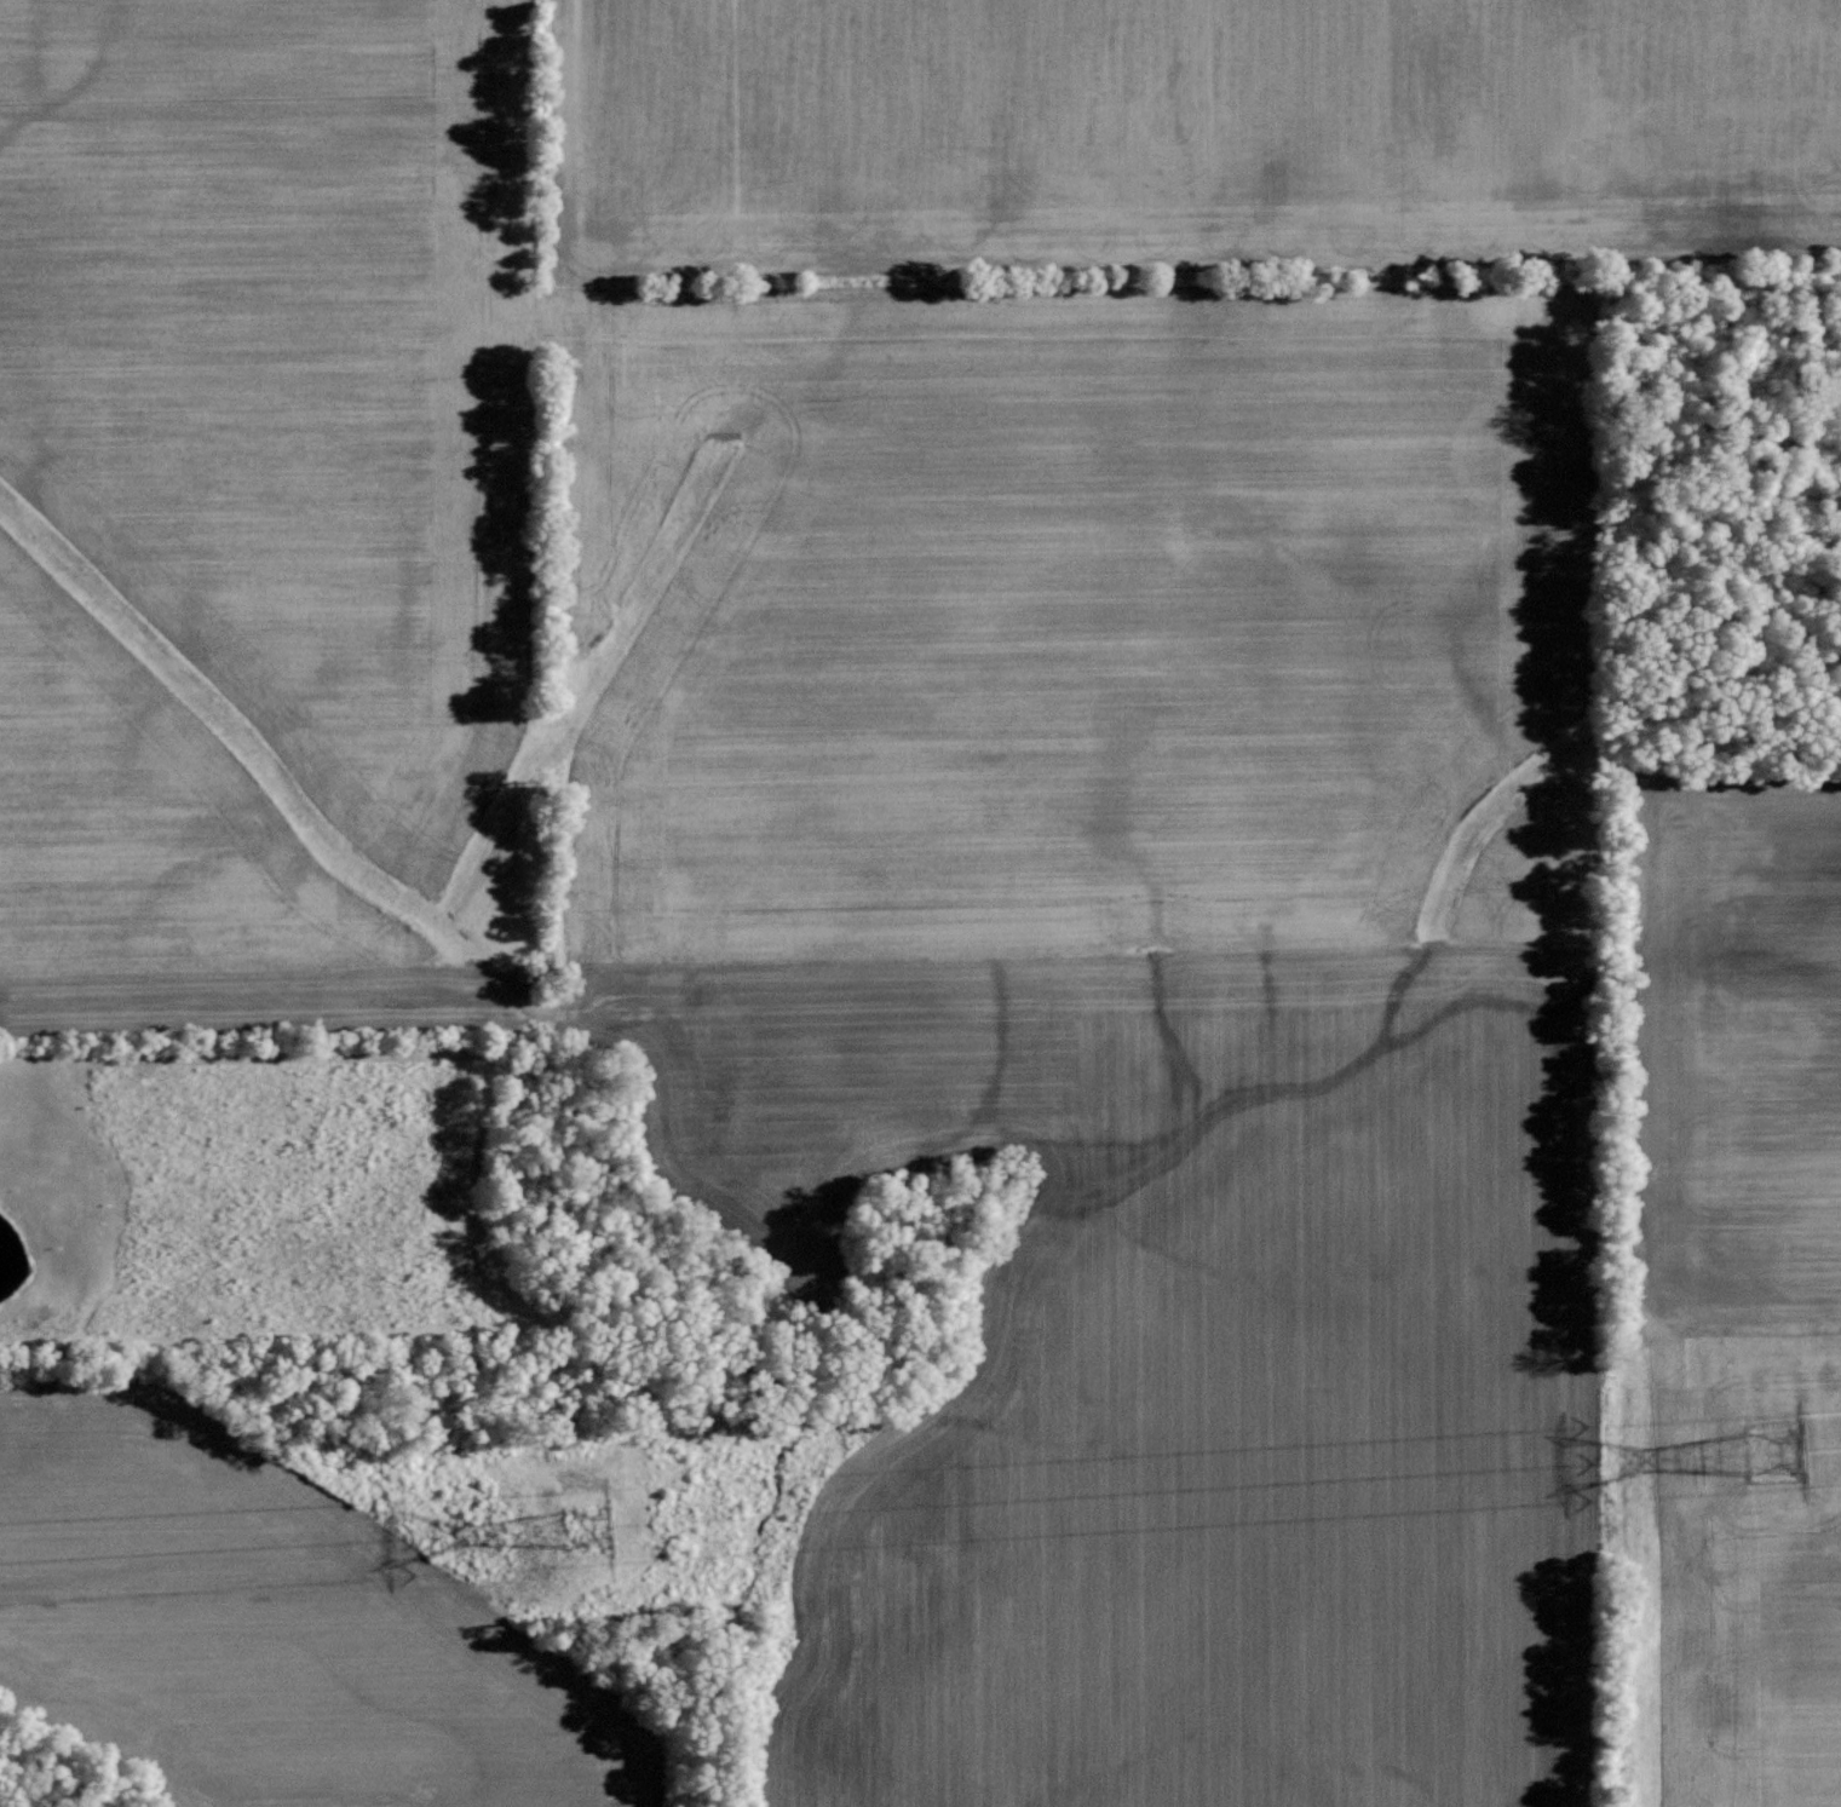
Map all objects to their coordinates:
power tower: (1776, 1451)
road: (1817, 1507)
power tower: (593, 1523)

